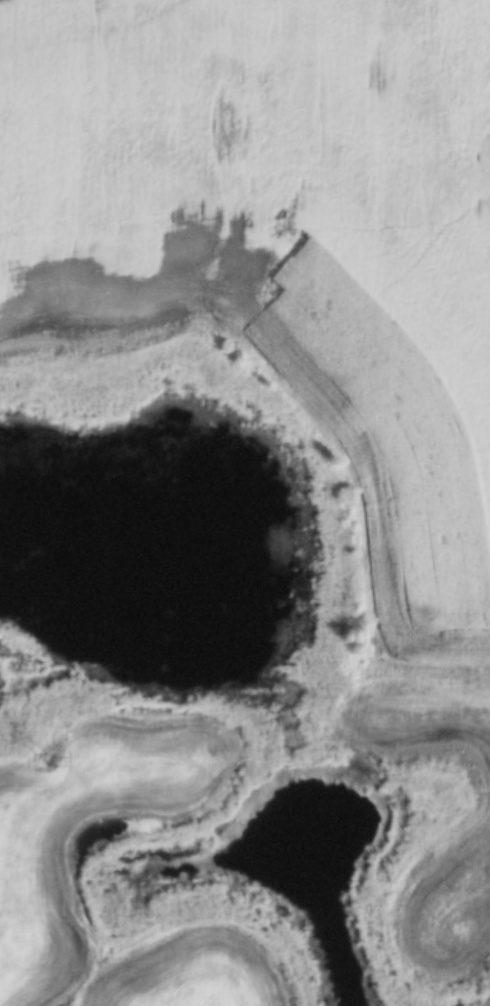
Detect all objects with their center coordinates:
power tower: (49, 760)

